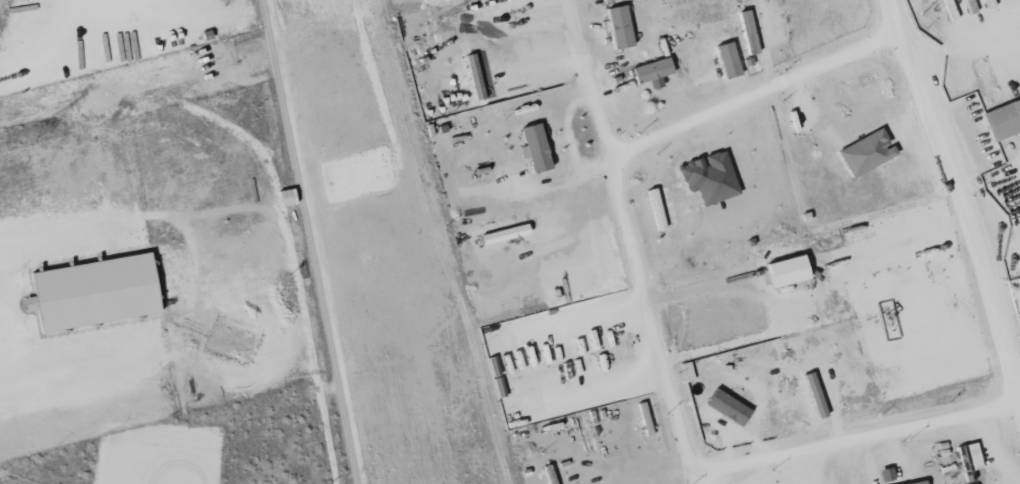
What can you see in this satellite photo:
power tower: (433, 27)
building: (621, 27)
building: (750, 34)
building: (729, 60)
building: (654, 70)
building: (476, 78)
road: (756, 93)
building: (1004, 120)
power tower: (39, 130)
building: (538, 148)
building: (867, 153)
building: (711, 178)
building: (288, 197)
road: (957, 201)
building: (497, 236)
road: (630, 241)
building: (790, 271)
building: (96, 292)
petroleum well: (880, 318)
building: (729, 407)
road: (855, 435)
building: (971, 460)
building: (922, 483)

